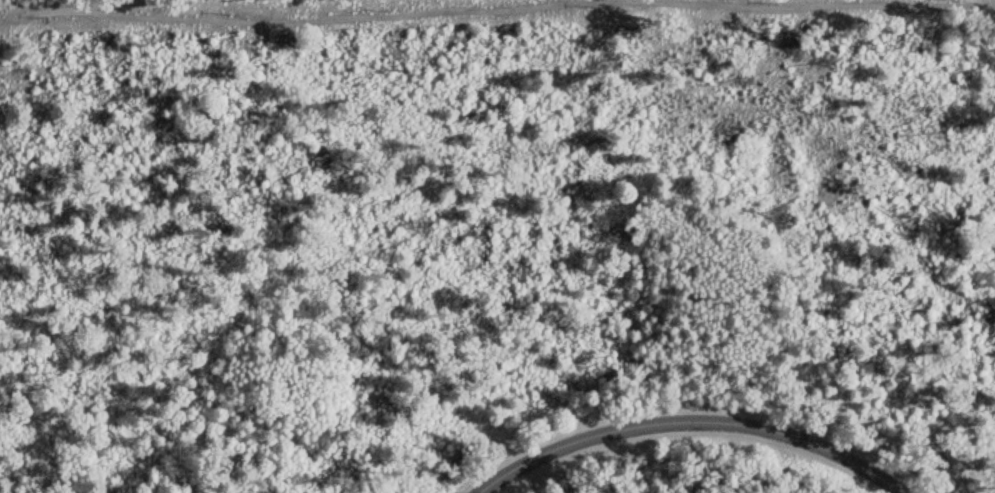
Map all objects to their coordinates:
road: (695, 420)

